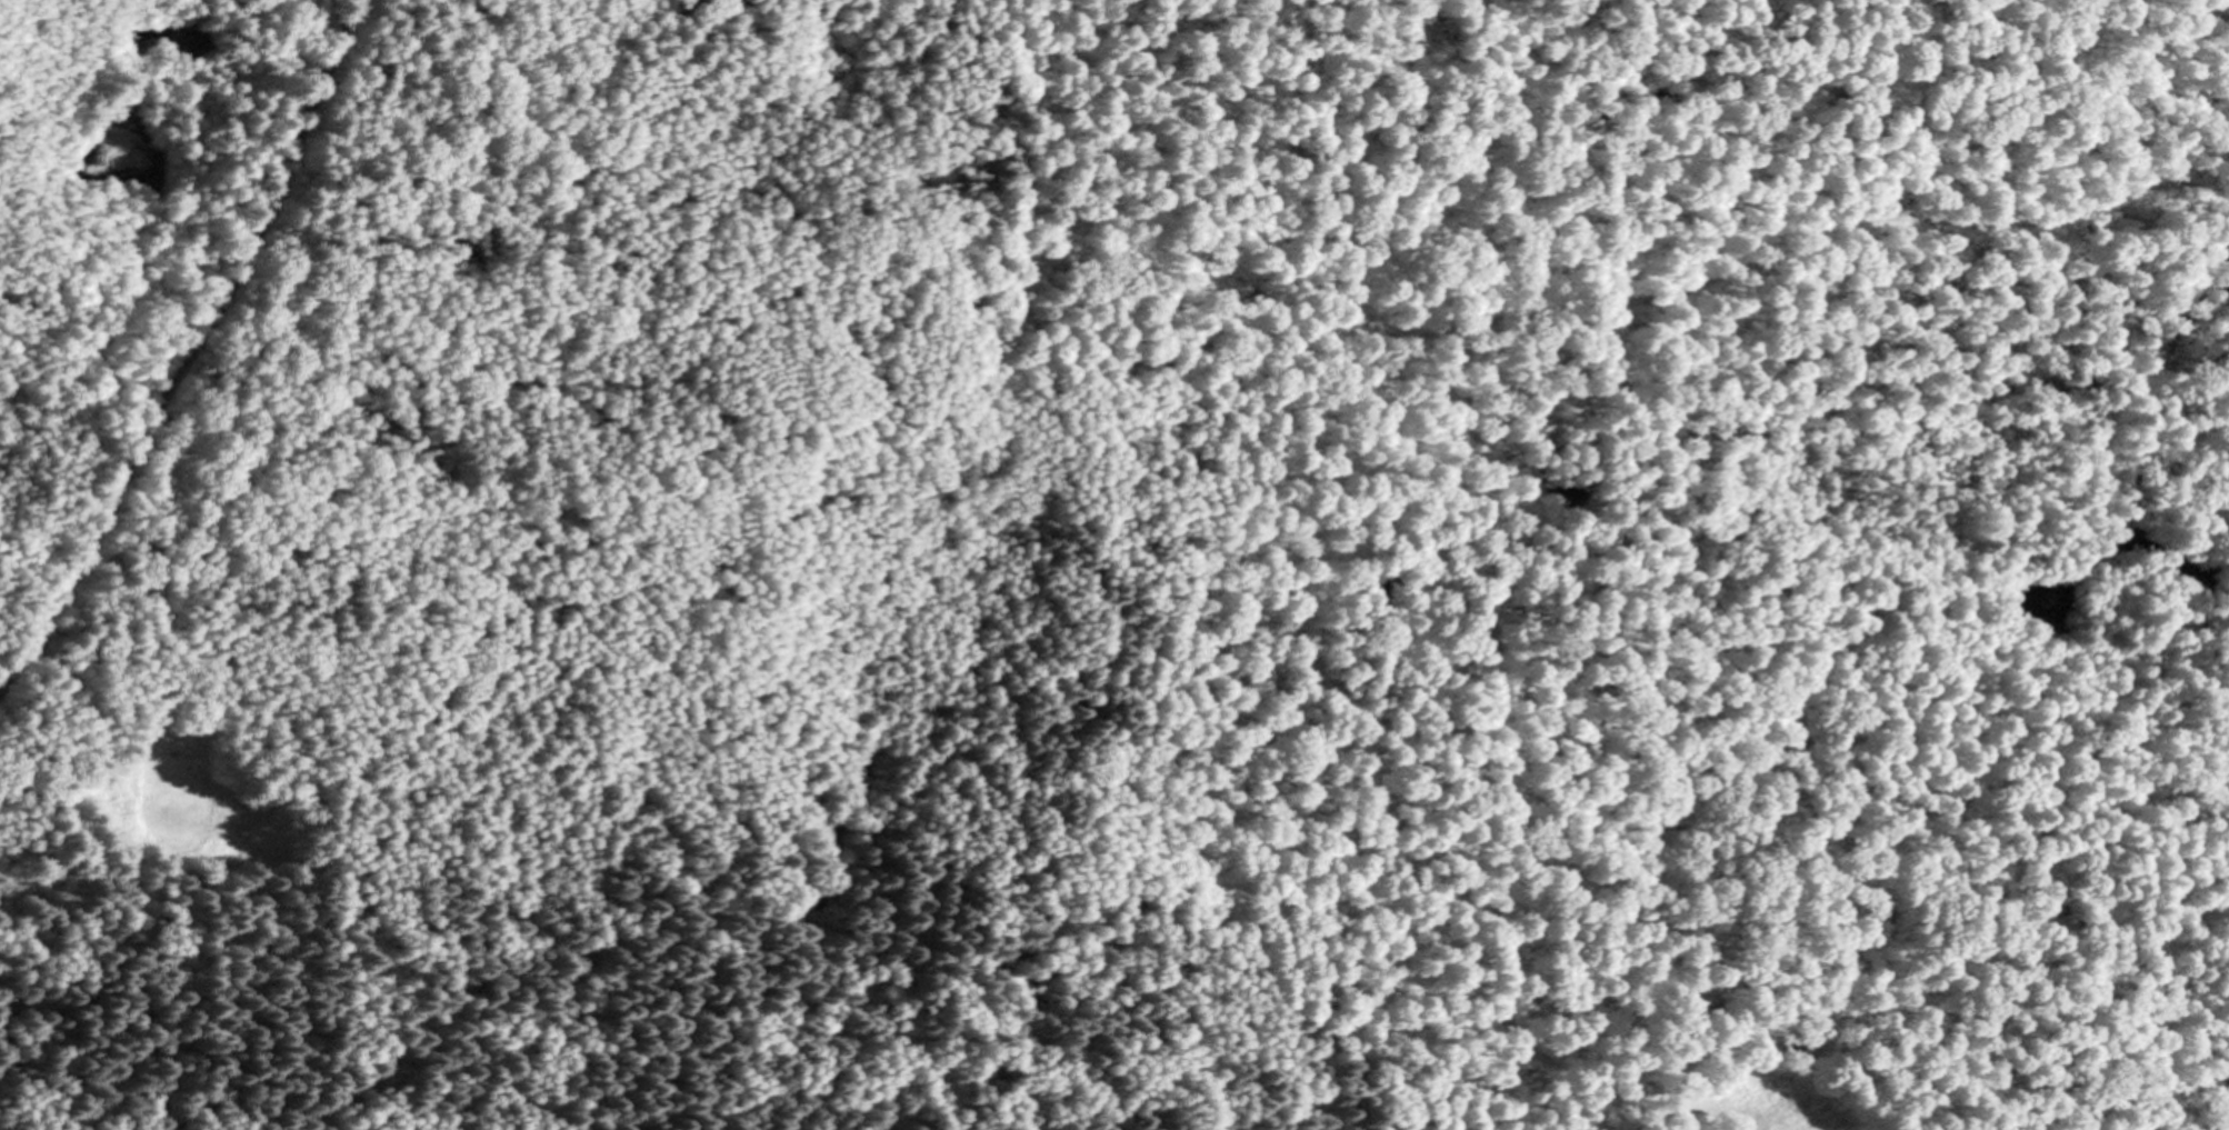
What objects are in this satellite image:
road: (2046, 132)
road: (202, 353)

